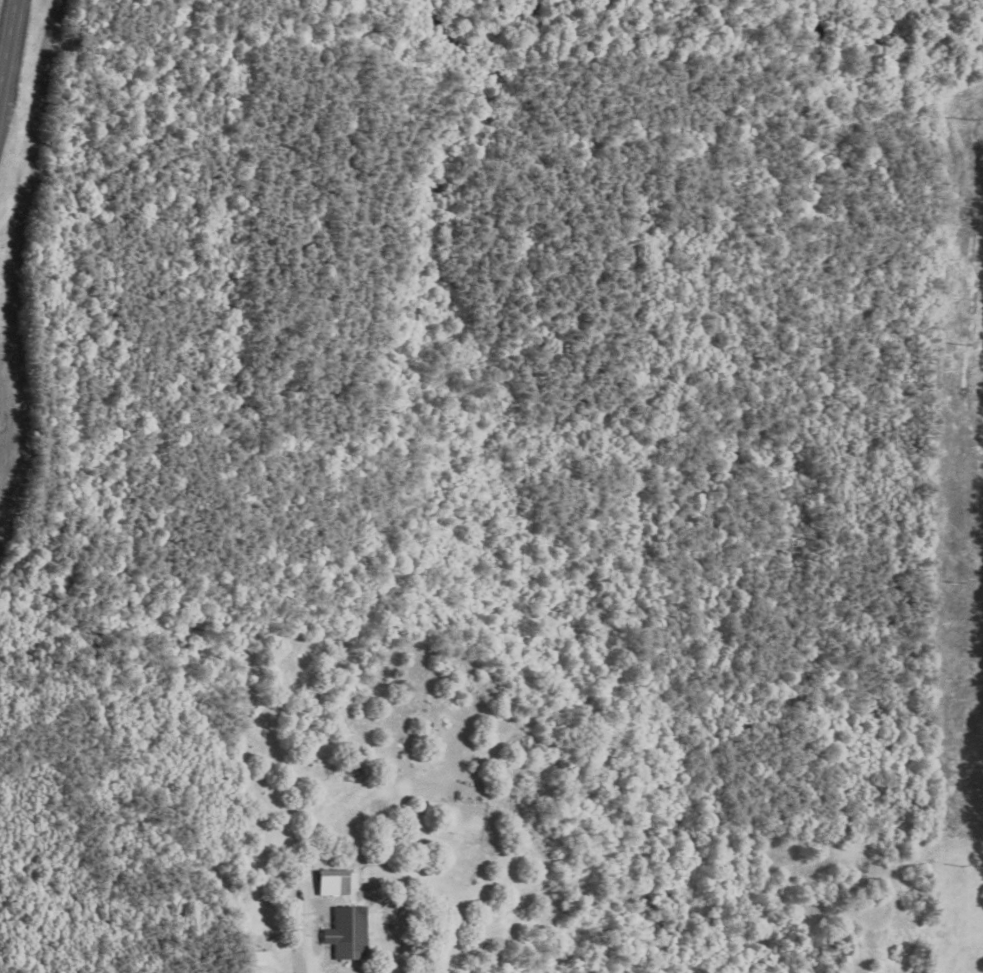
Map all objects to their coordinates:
road: (520, 33)
road: (6, 45)
building: (335, 882)
building: (347, 933)
building: (260, 958)
road: (321, 971)

